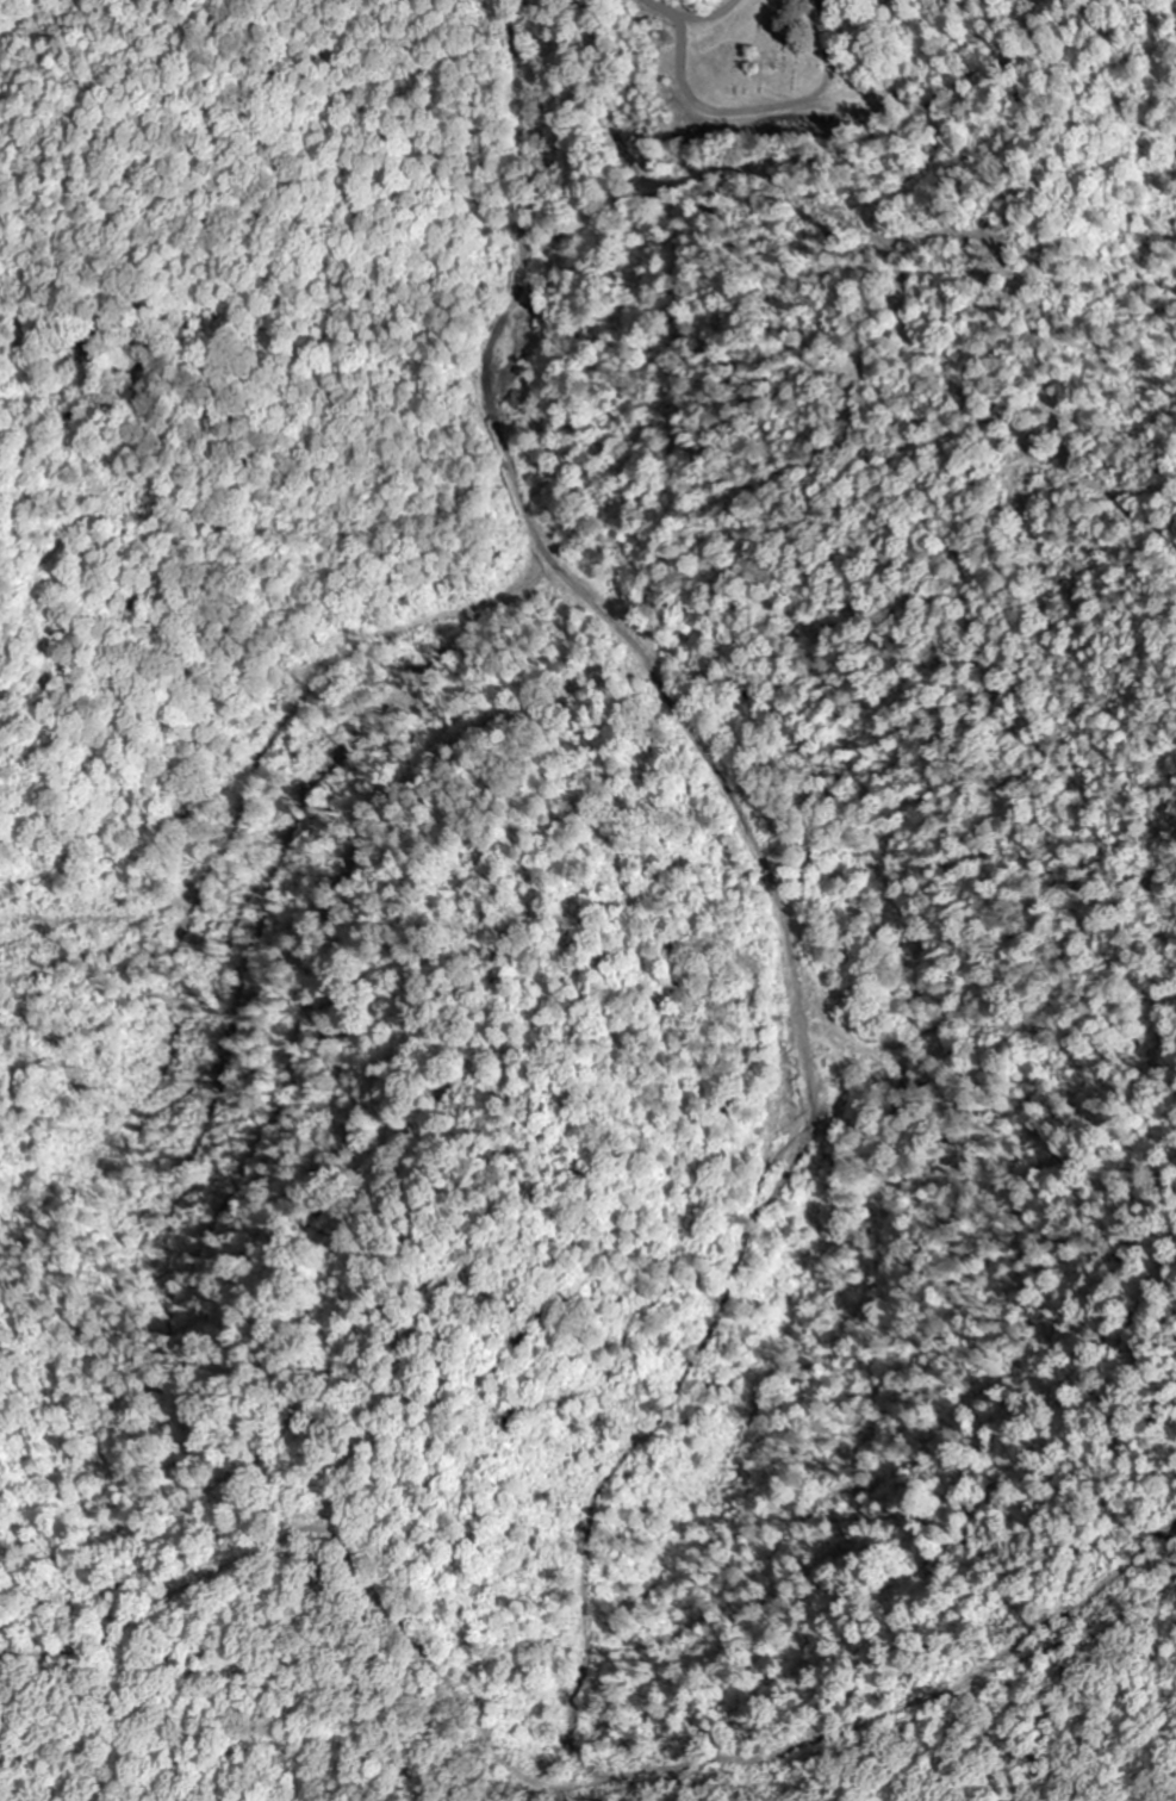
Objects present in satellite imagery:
road: (674, 11)
park: (755, 54)

